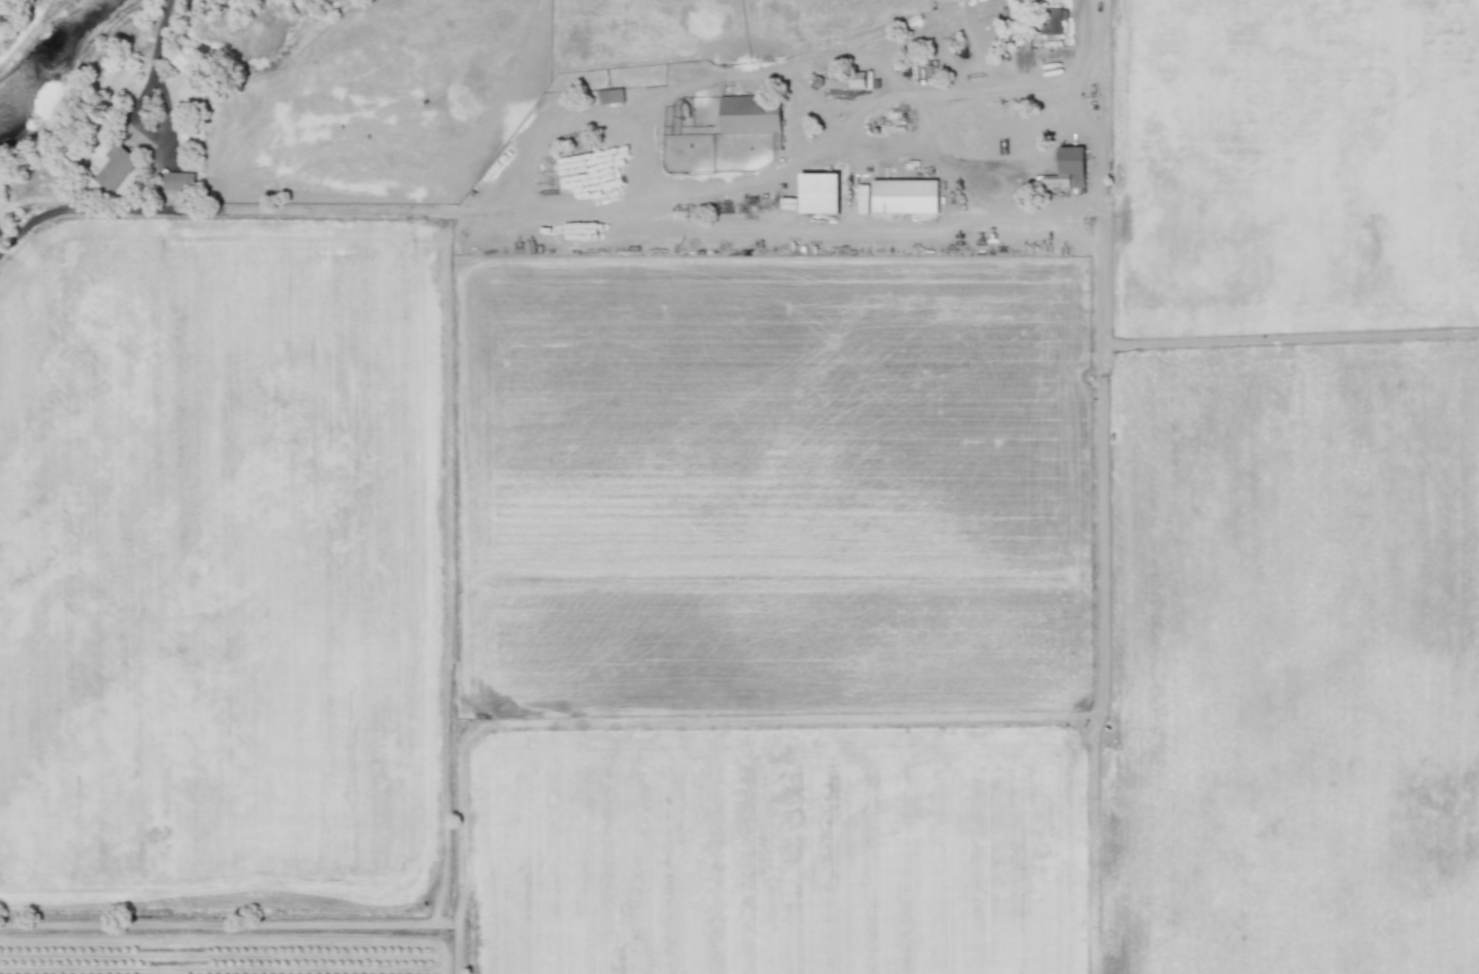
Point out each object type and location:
building: (1053, 20)
road: (153, 63)
building: (847, 78)
road: (973, 87)
building: (607, 95)
building: (751, 115)
building: (114, 166)
building: (1065, 169)
building: (177, 180)
building: (818, 192)
building: (904, 195)

